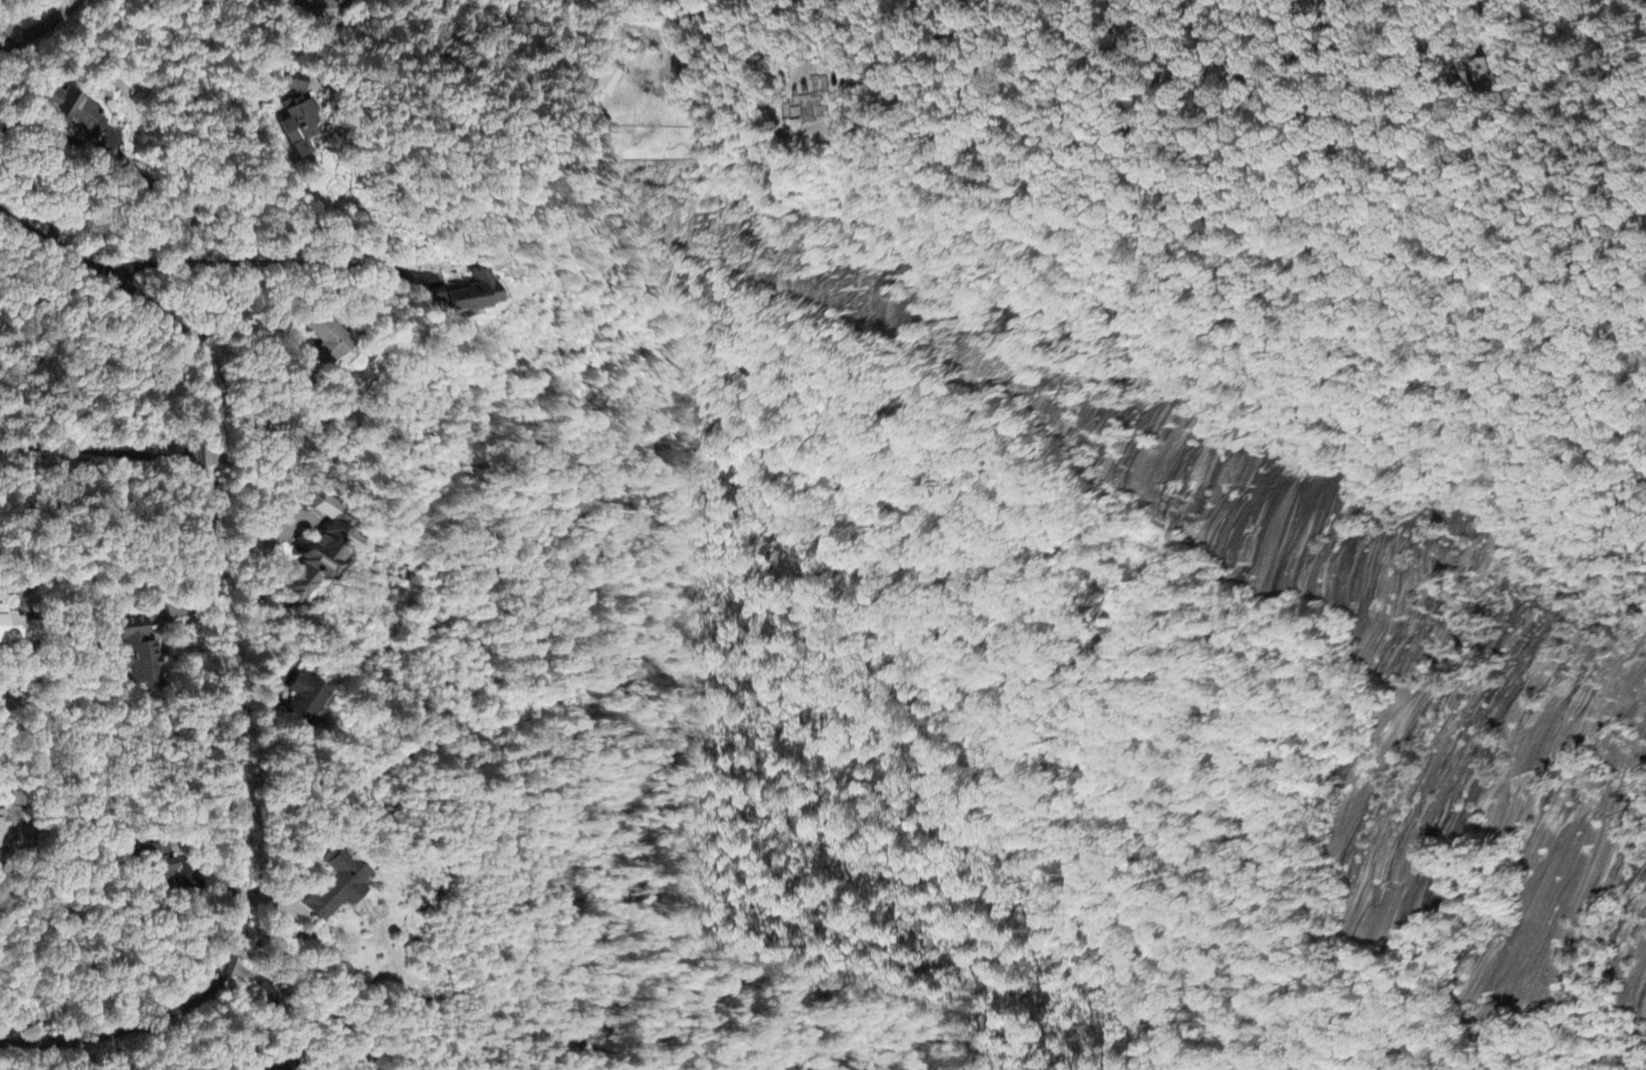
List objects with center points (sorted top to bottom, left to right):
road: (327, 1)
road: (23, 20)
park: (1562, 26)
road: (41, 28)
building: (602, 80)
building: (74, 113)
building: (294, 128)
building: (469, 296)
park: (83, 355)
road: (100, 445)
building: (313, 560)
building: (136, 654)
road: (221, 664)
building: (300, 704)
building: (7, 826)
building: (163, 868)
building: (333, 889)
road: (318, 999)
road: (192, 1039)

